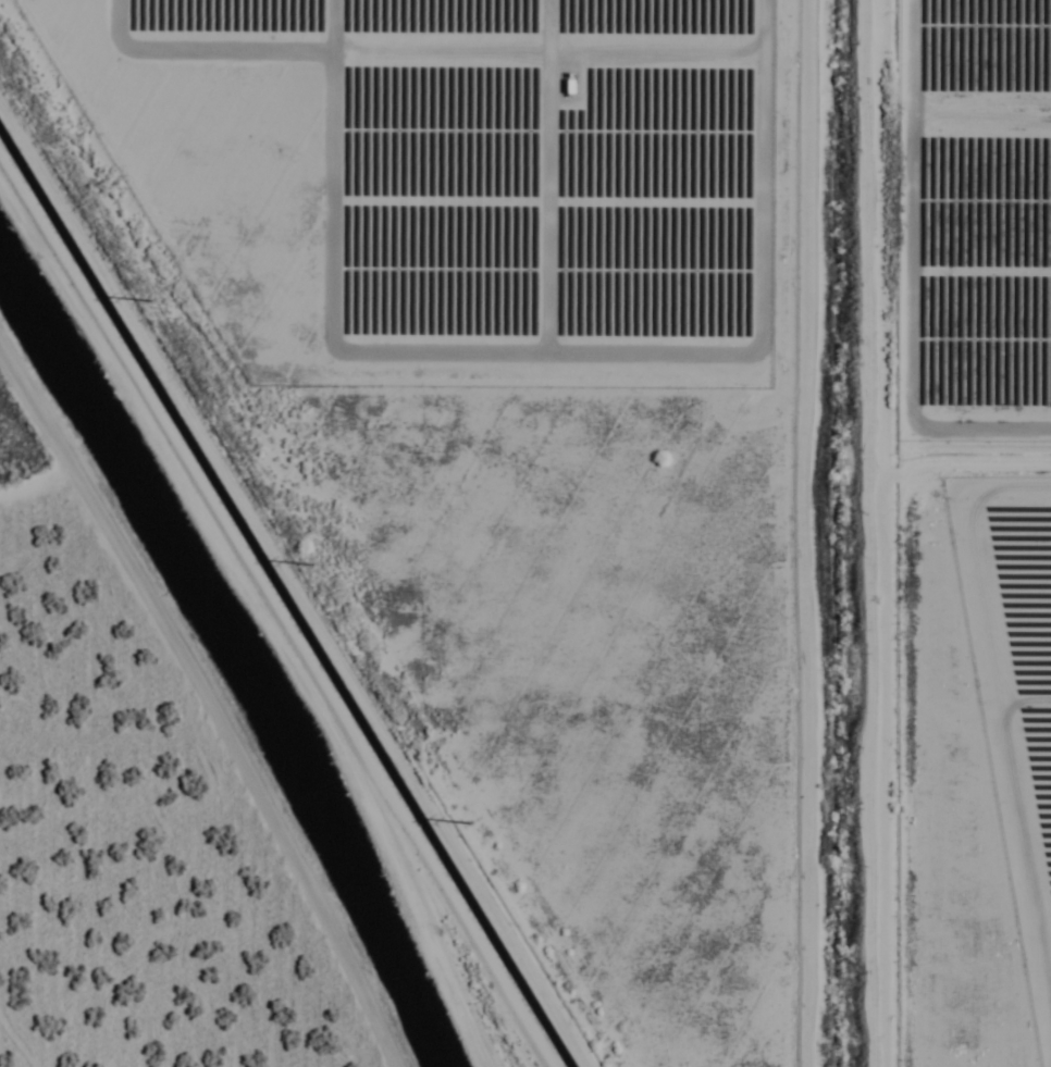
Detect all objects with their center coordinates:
solar farm: (449, 184)
solar farm: (976, 223)
power tower: (150, 297)
power tower: (311, 561)
road: (265, 609)
solar farm: (1014, 685)
power tower: (469, 820)

